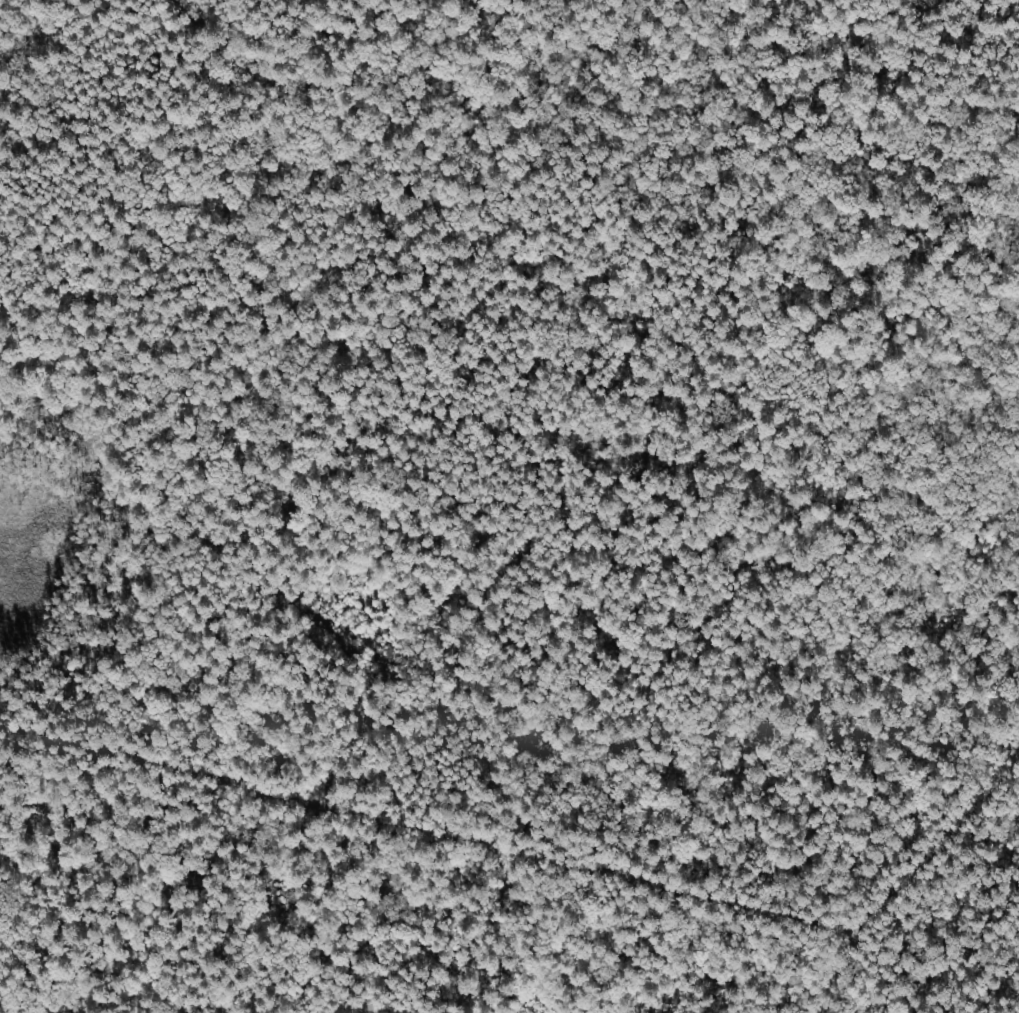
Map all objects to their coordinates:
road: (939, 851)
road: (469, 852)
road: (870, 975)

